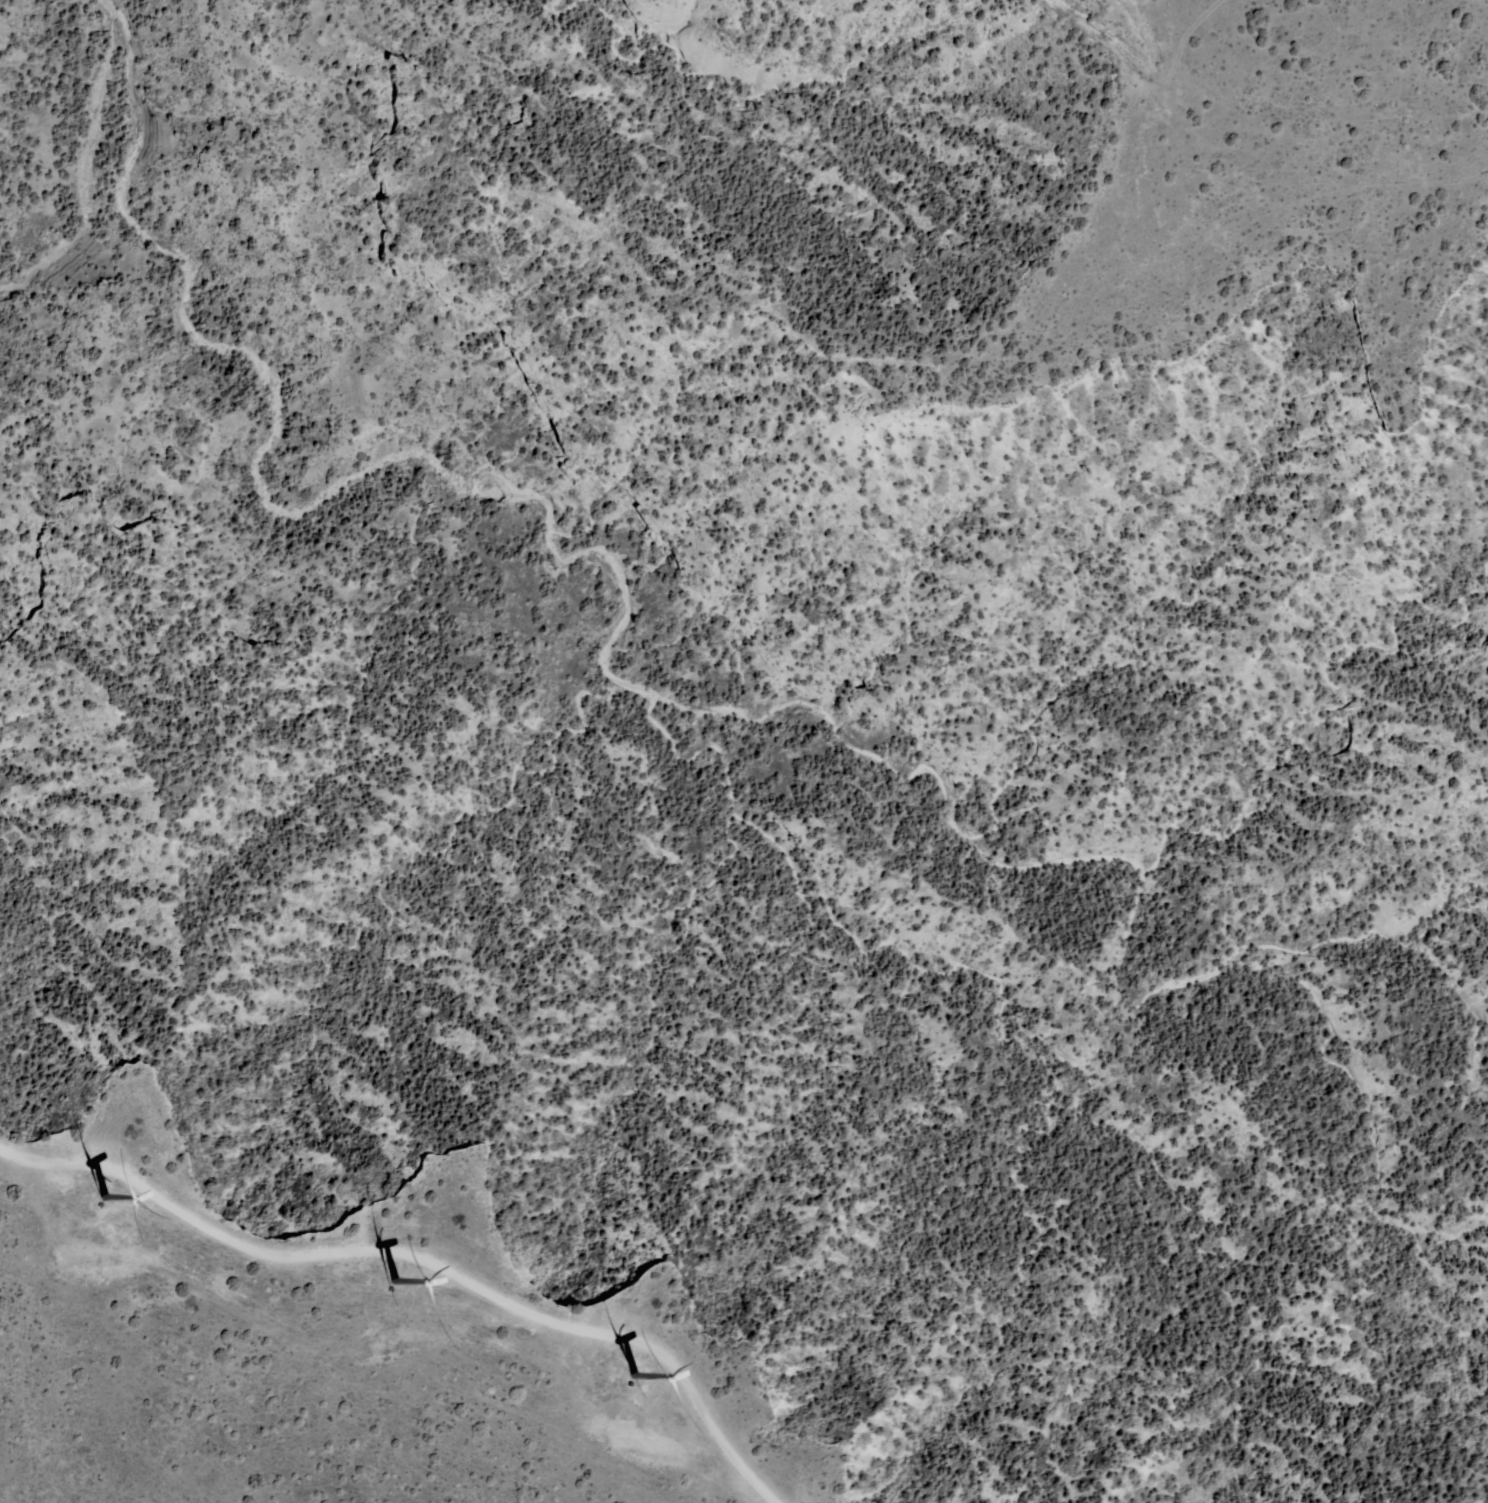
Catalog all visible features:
road: (1152, 294)
wind turbine: (105, 1199)
road: (420, 1261)
wind turbine: (395, 1284)
wind turbine: (636, 1377)

